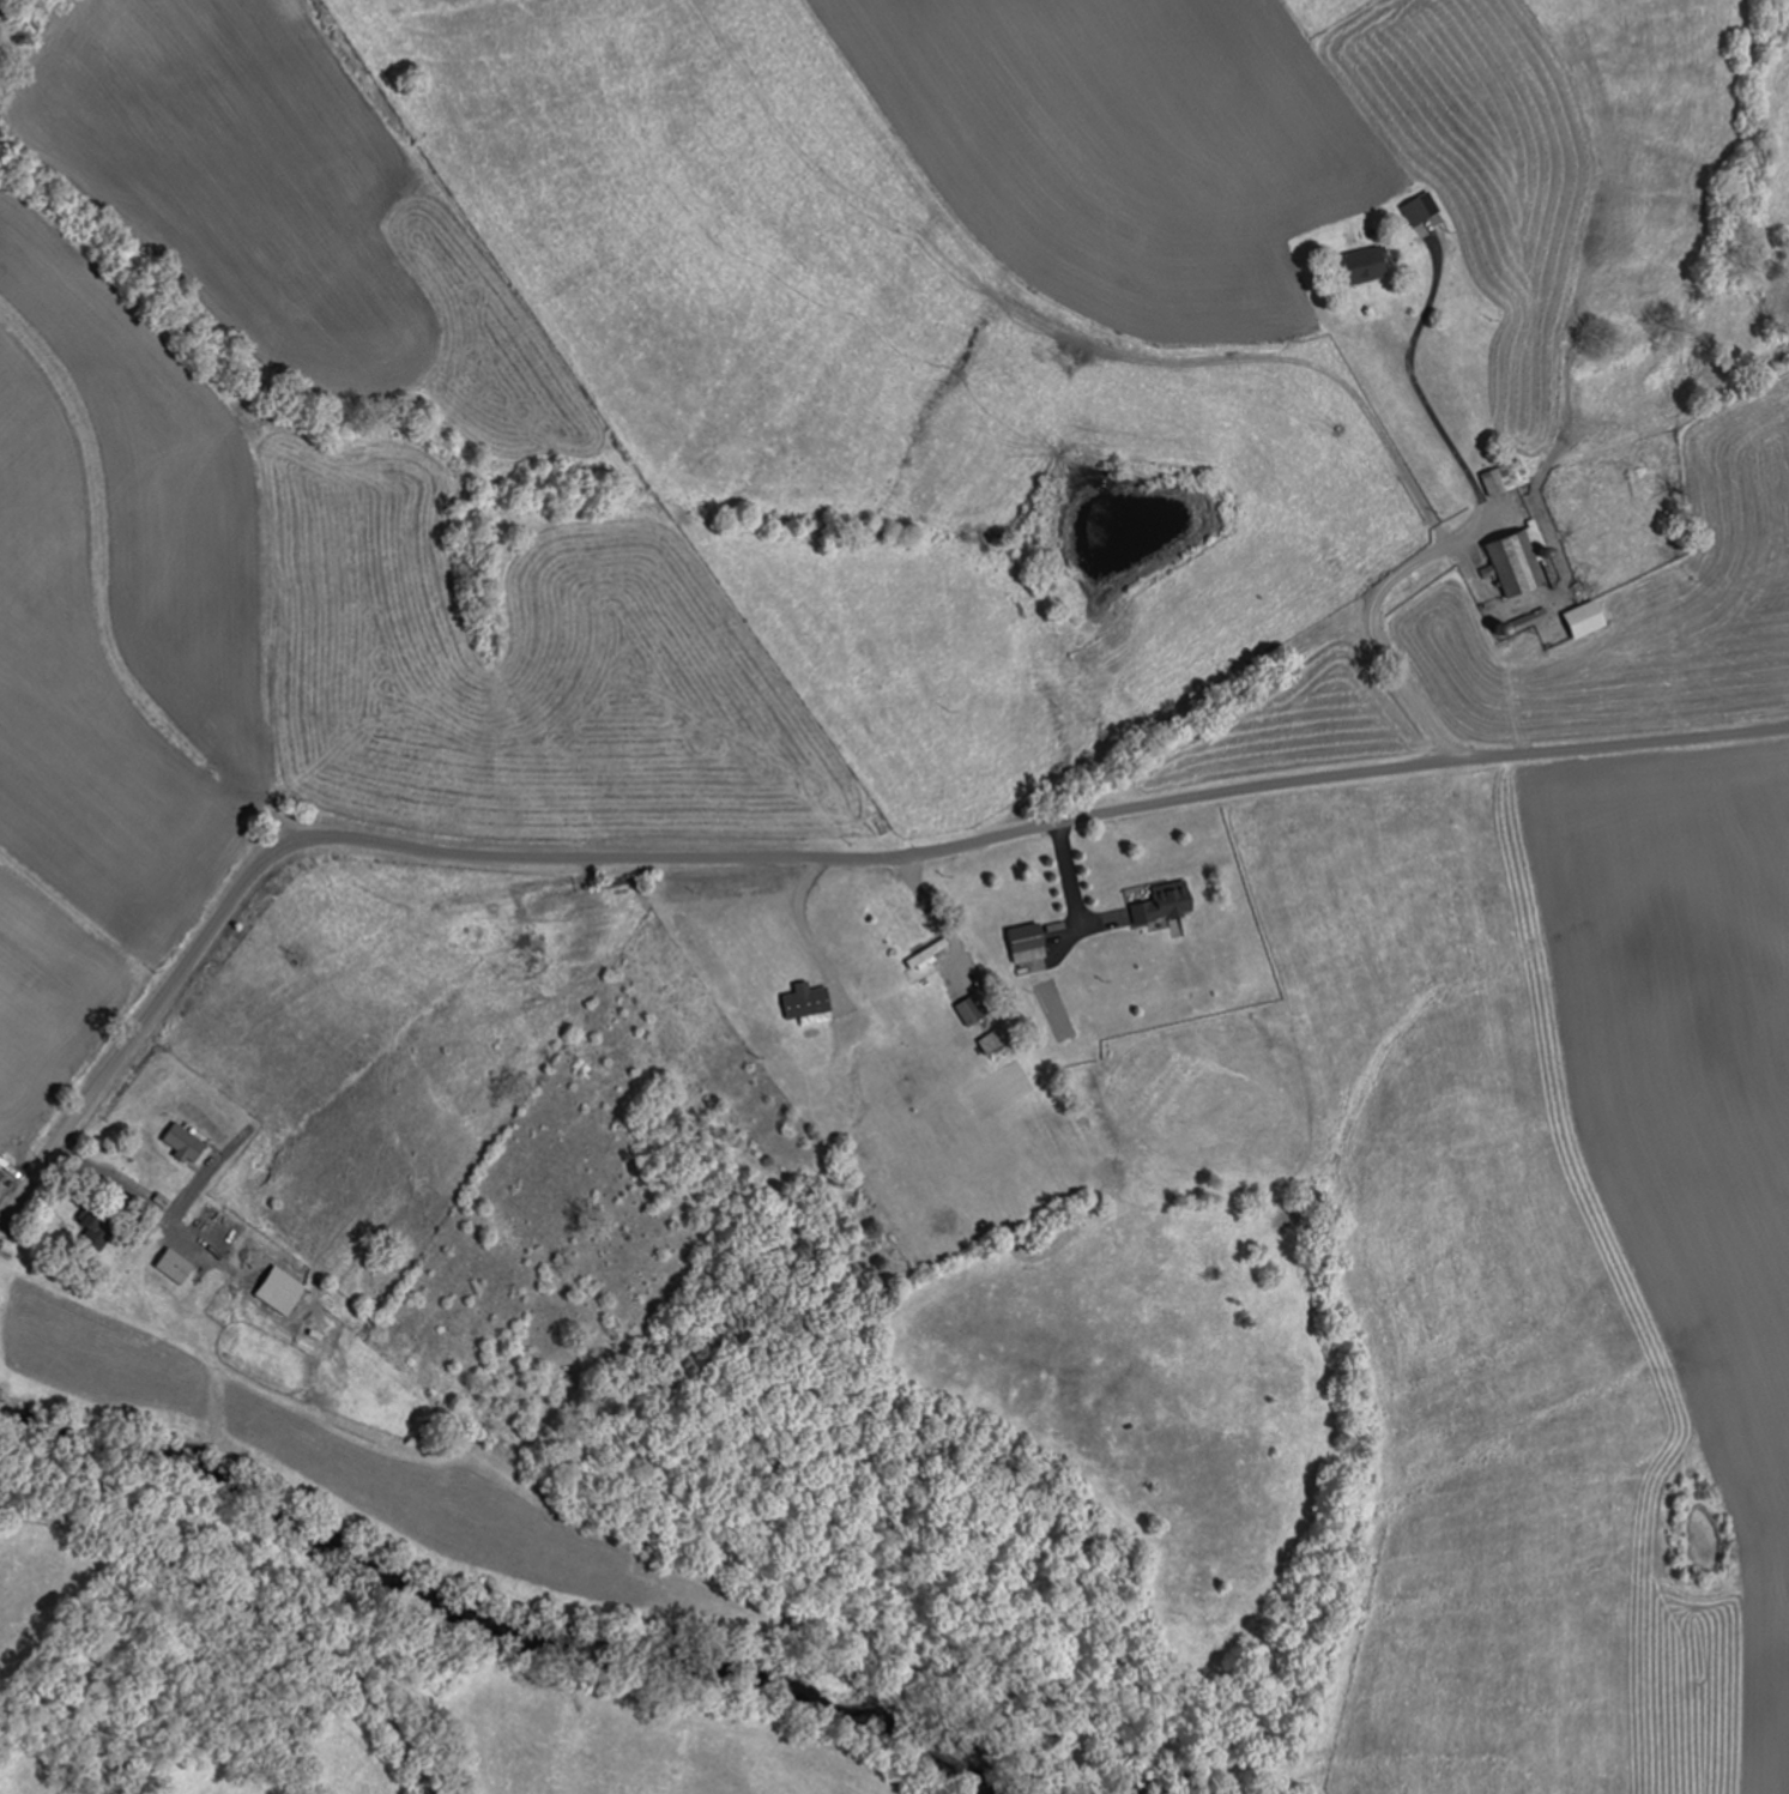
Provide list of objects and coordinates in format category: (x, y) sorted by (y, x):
building: (1413, 213)
building: (1362, 266)
building: (1504, 479)
building: (1516, 561)
building: (1579, 621)
road: (1645, 744)
road: (655, 859)
building: (1162, 905)
building: (1023, 946)
building: (926, 955)
building: (967, 1014)
building: (92, 1234)
building: (169, 1267)
building: (279, 1293)
road: (241, 1609)
river: (556, 1641)

